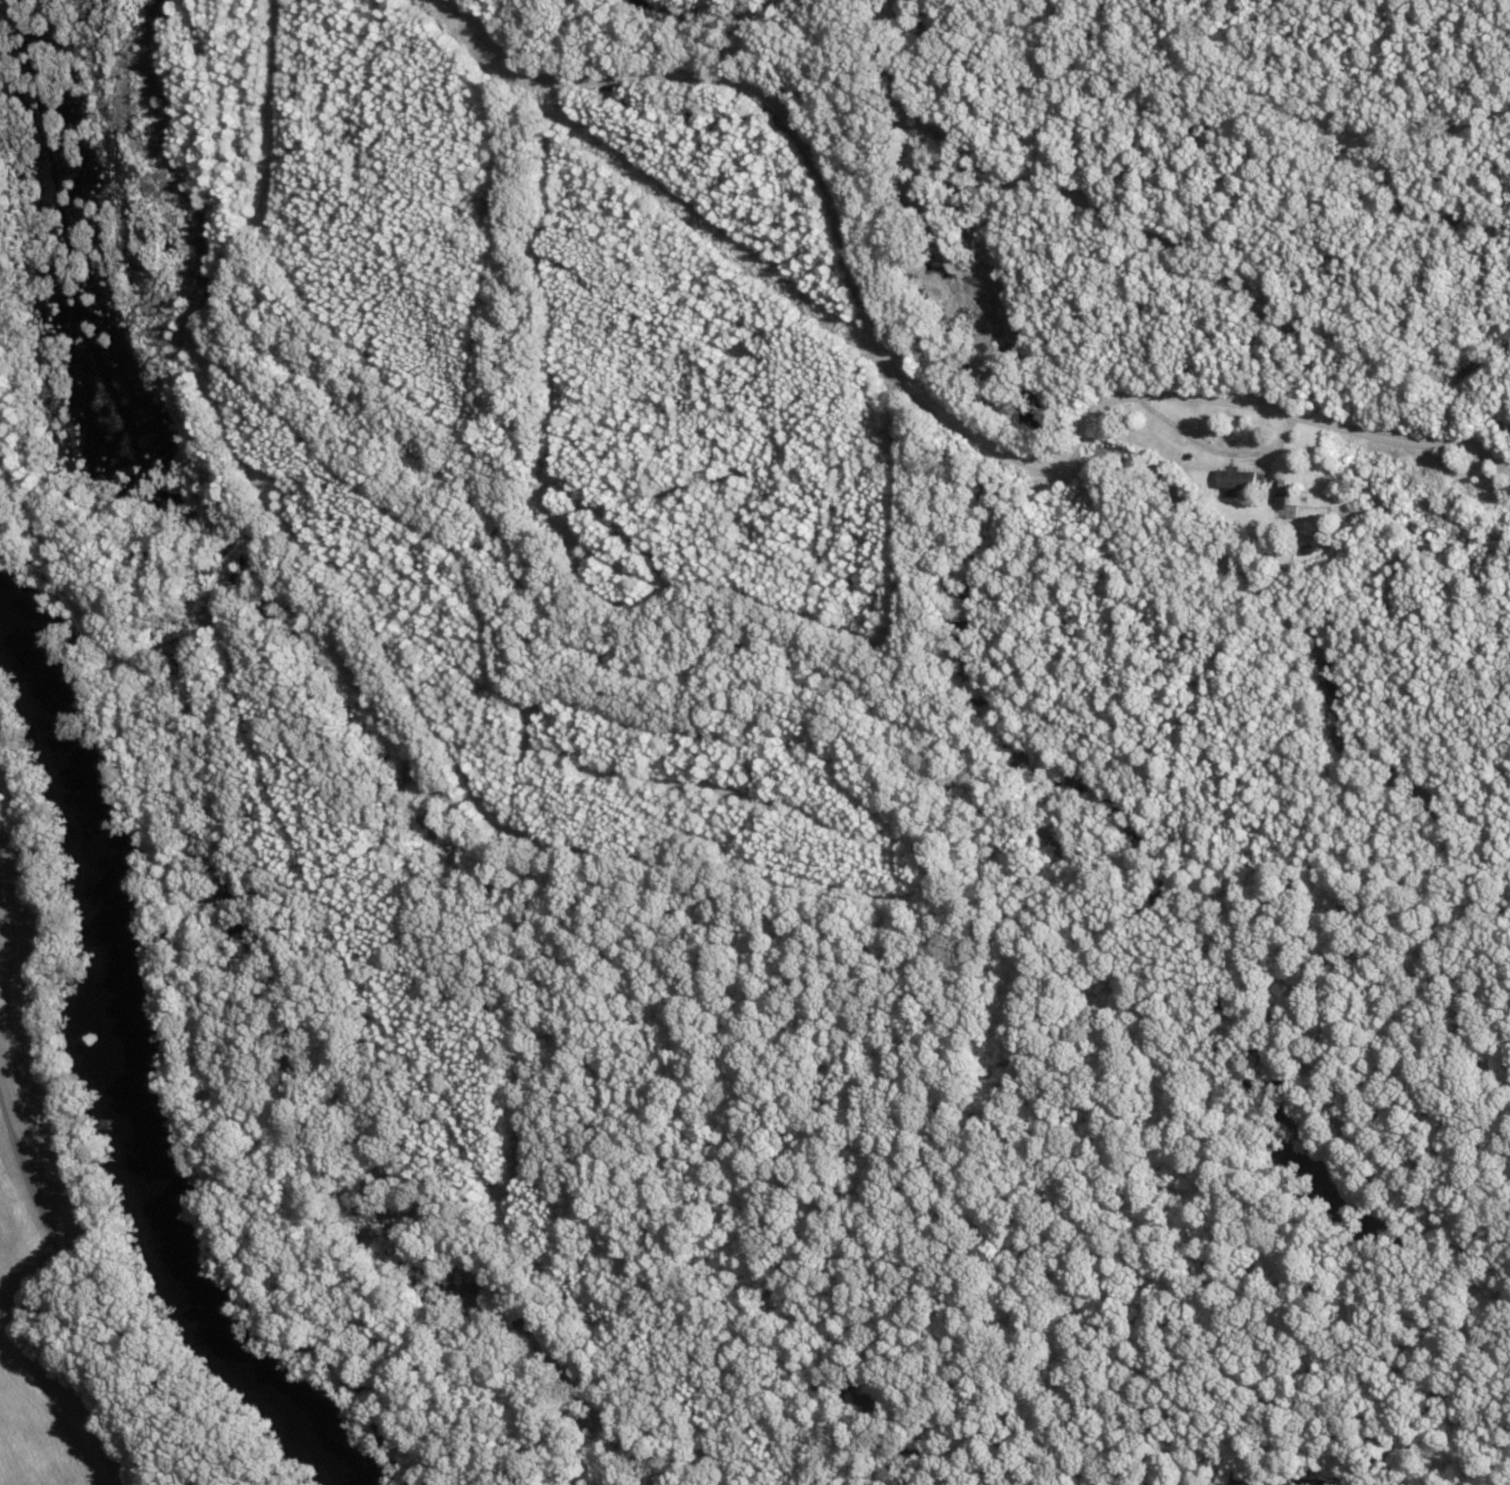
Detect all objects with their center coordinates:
building: (1238, 479)

